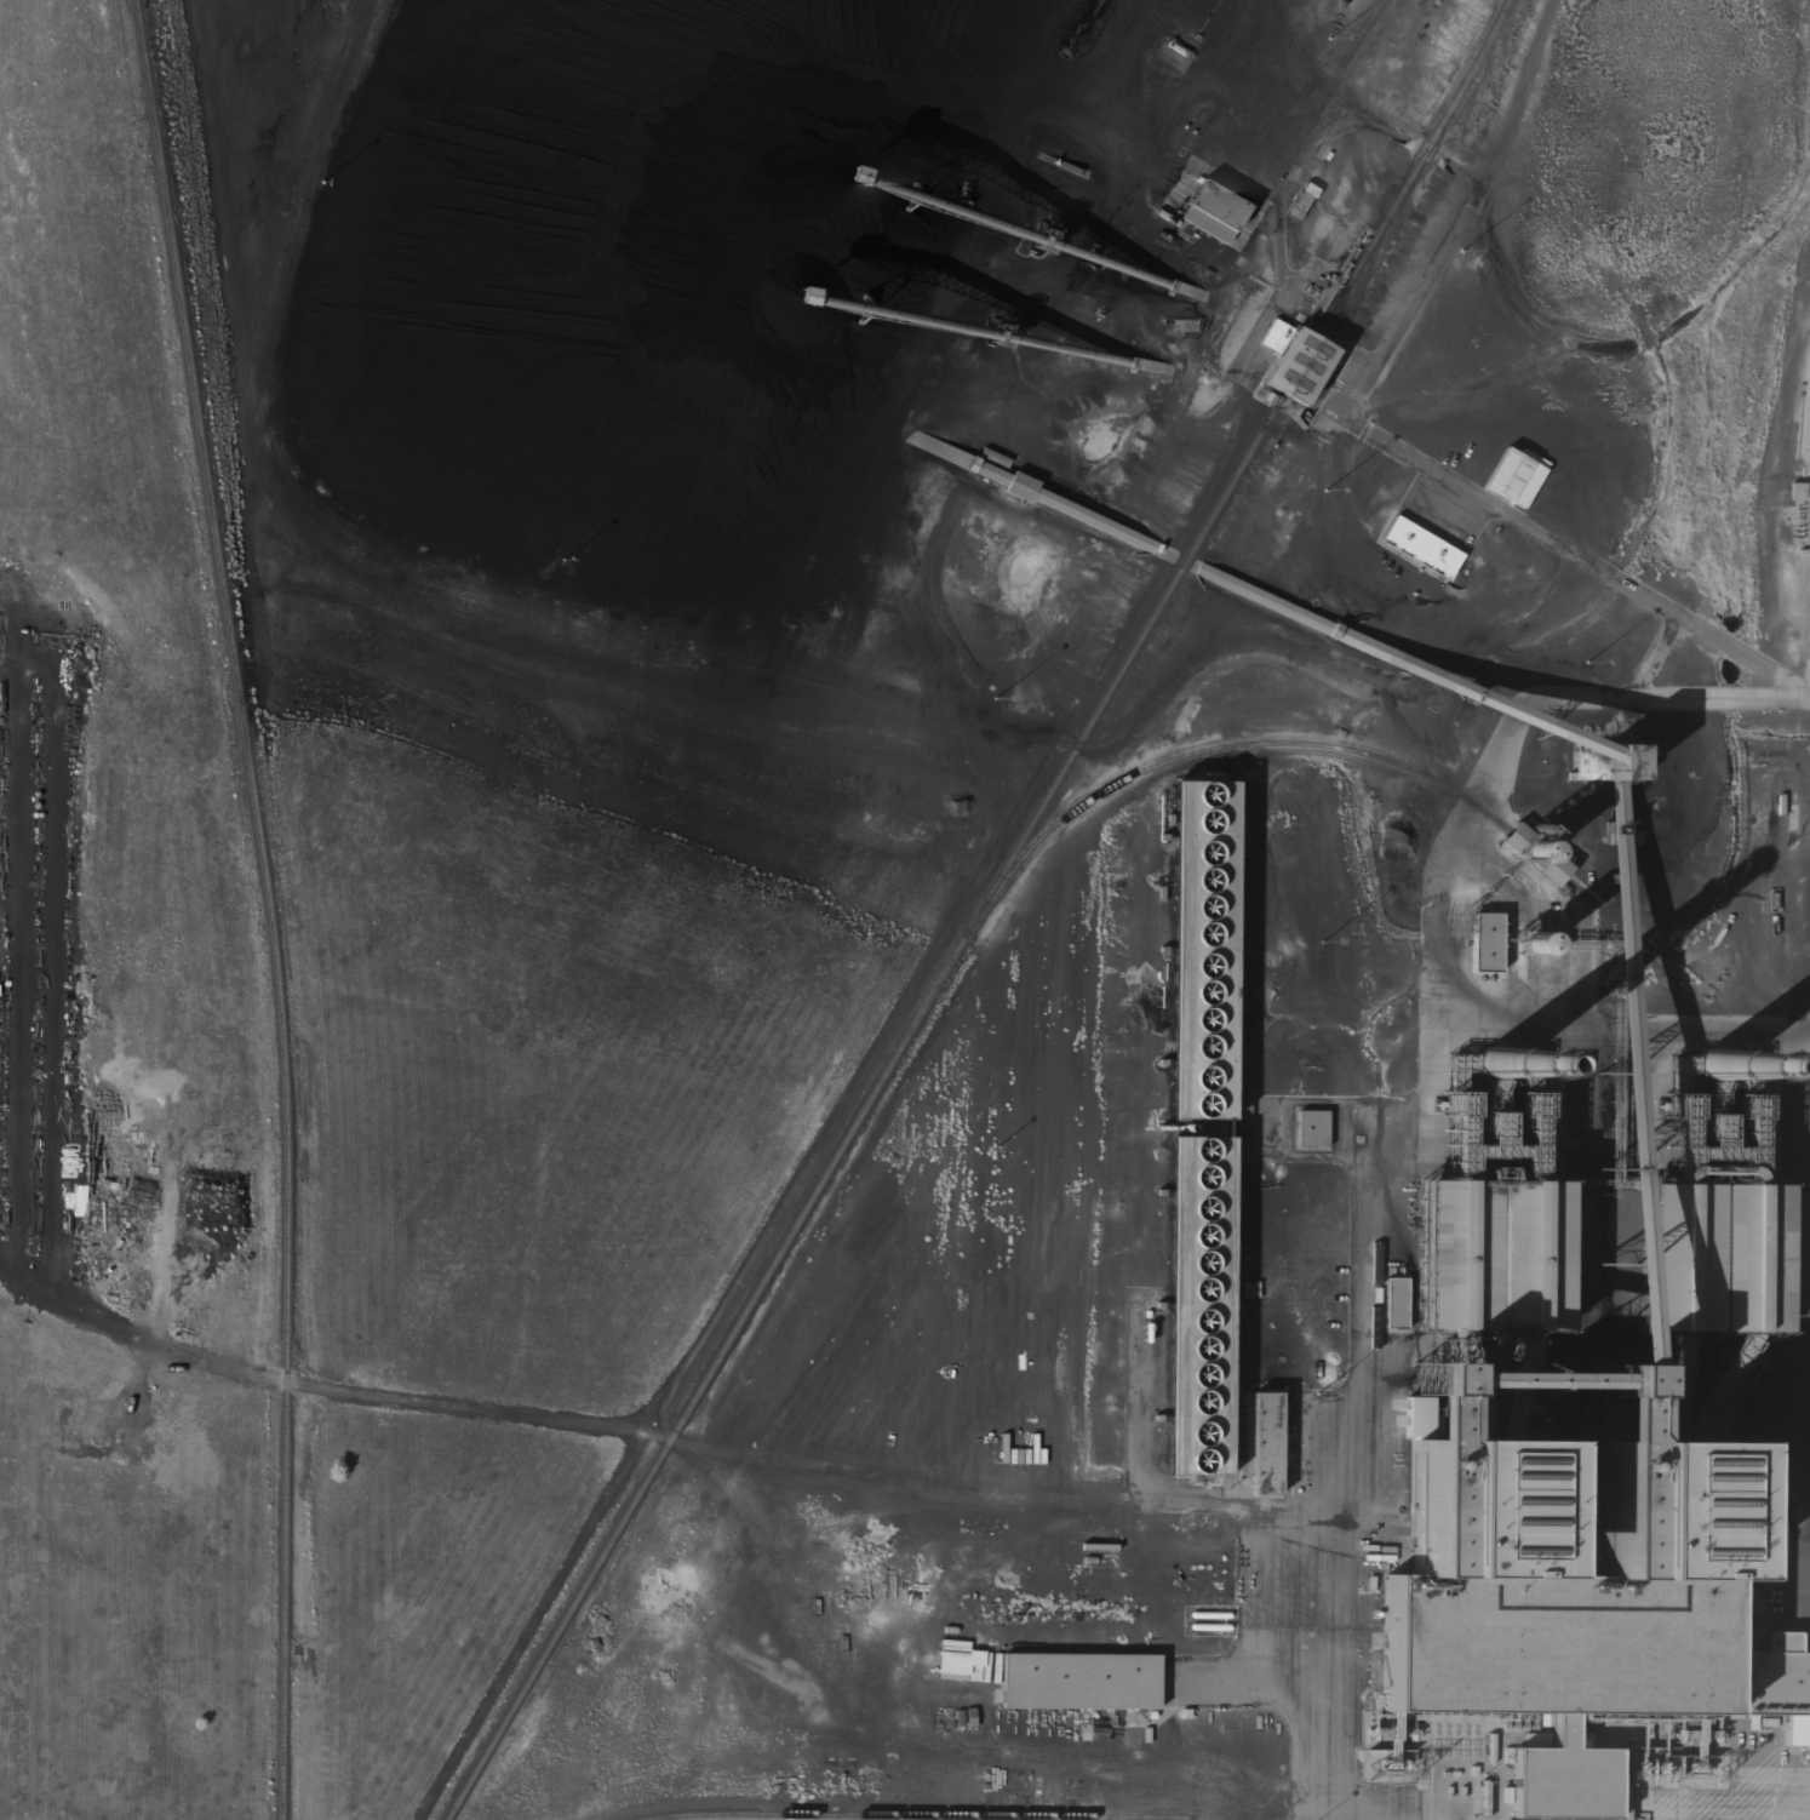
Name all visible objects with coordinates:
building: (1213, 213)
building: (1293, 364)
building: (1507, 476)
building: (1129, 538)
building: (1420, 549)
railway: (1342, 749)
railway: (268, 905)
power plant: (905, 910)
railway: (978, 911)
building: (1185, 957)
chimney: (1714, 1047)
chimney: (1491, 1048)
building: (1720, 1055)
building: (1311, 1129)
building: (1188, 1311)
building: (1576, 1467)
building: (1079, 1682)
railway: (850, 1816)

